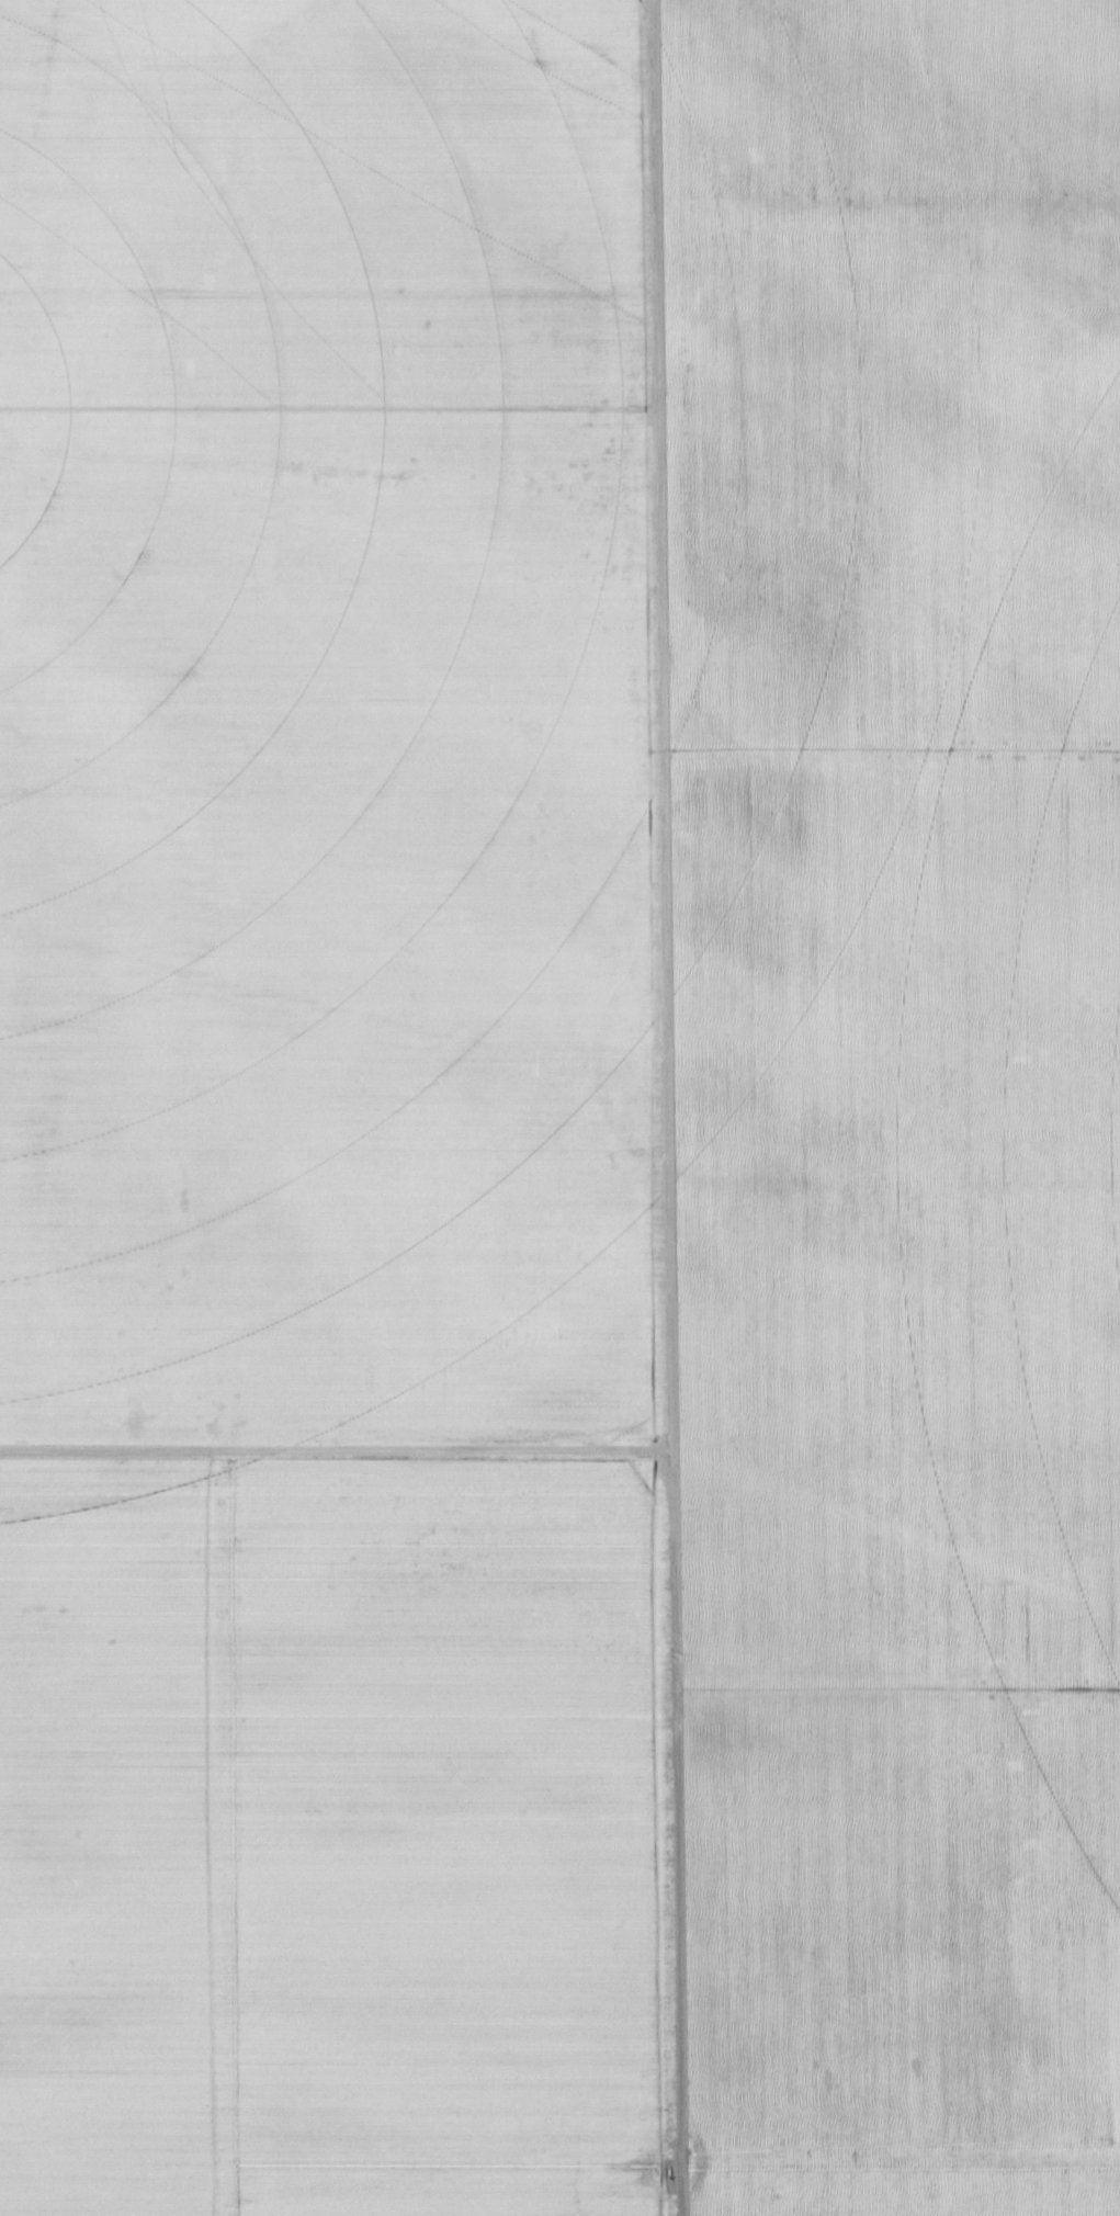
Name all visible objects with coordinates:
road: (660, 1107)
road: (332, 1456)

